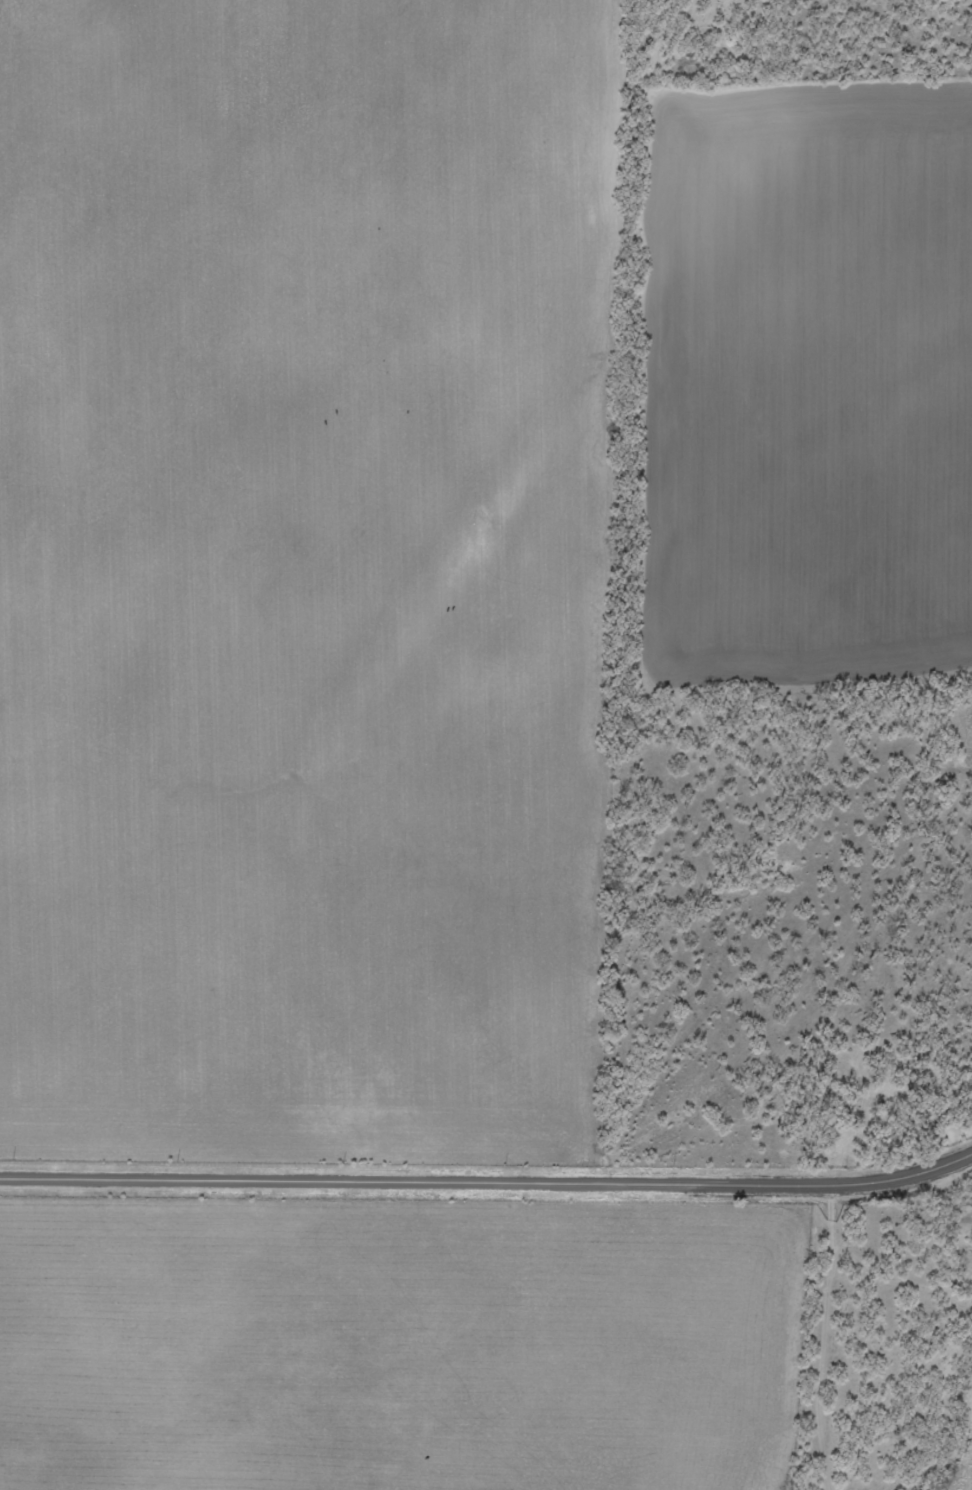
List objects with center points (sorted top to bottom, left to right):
road: (488, 1184)

